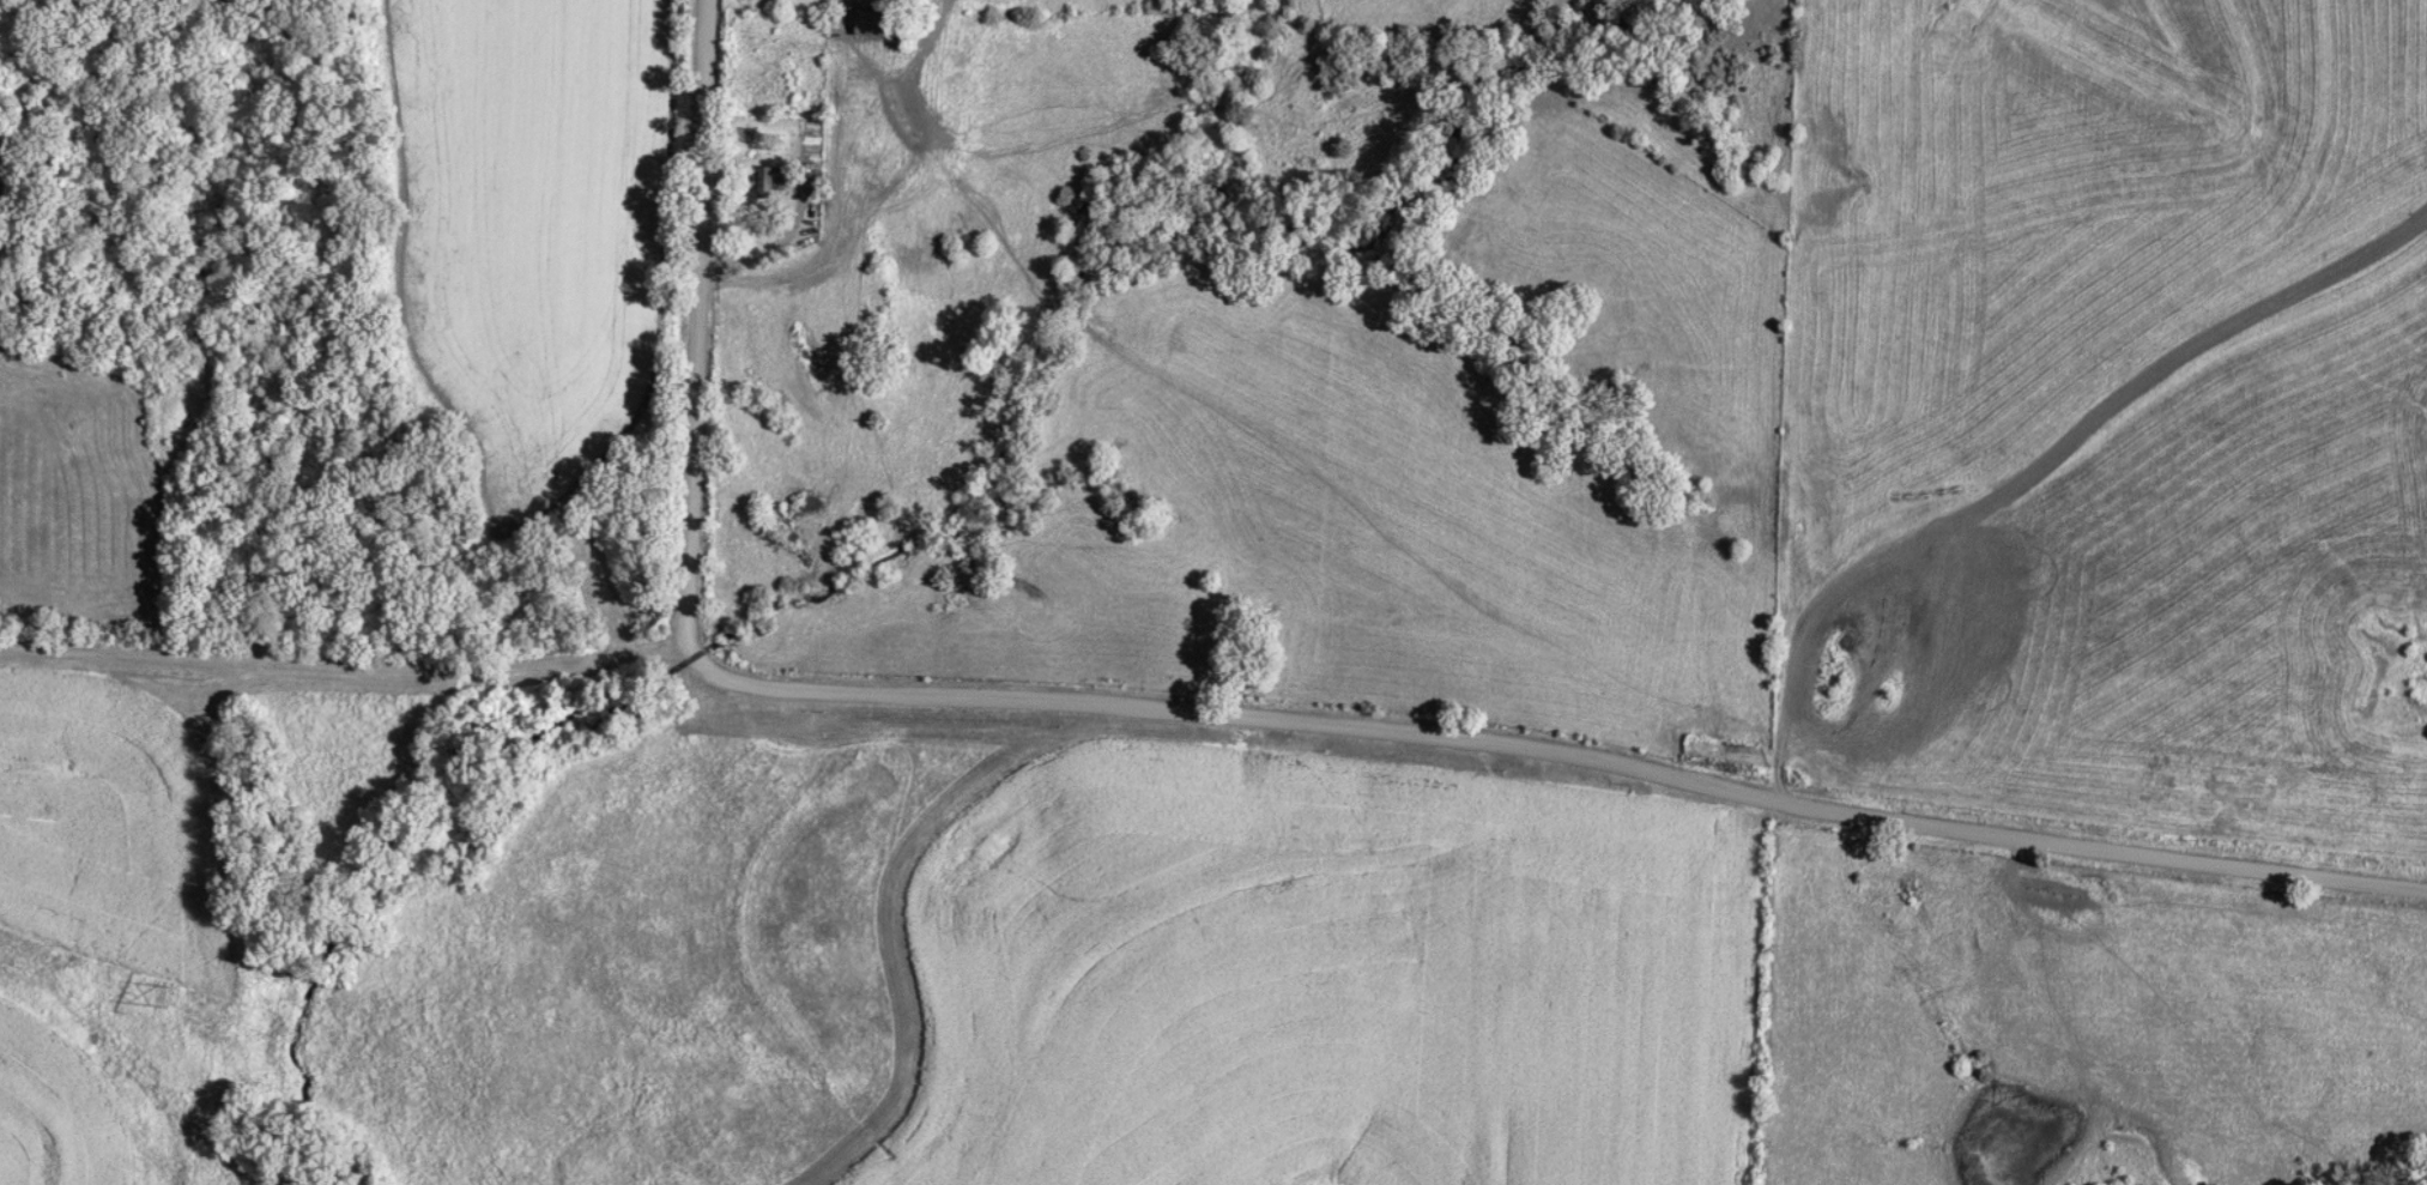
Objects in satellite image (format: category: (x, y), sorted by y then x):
building: (880, 23)
road: (837, 135)
building: (775, 182)
road: (691, 324)
road: (1314, 417)
road: (2020, 434)
road: (341, 669)
road: (1551, 751)
power tower: (169, 997)

